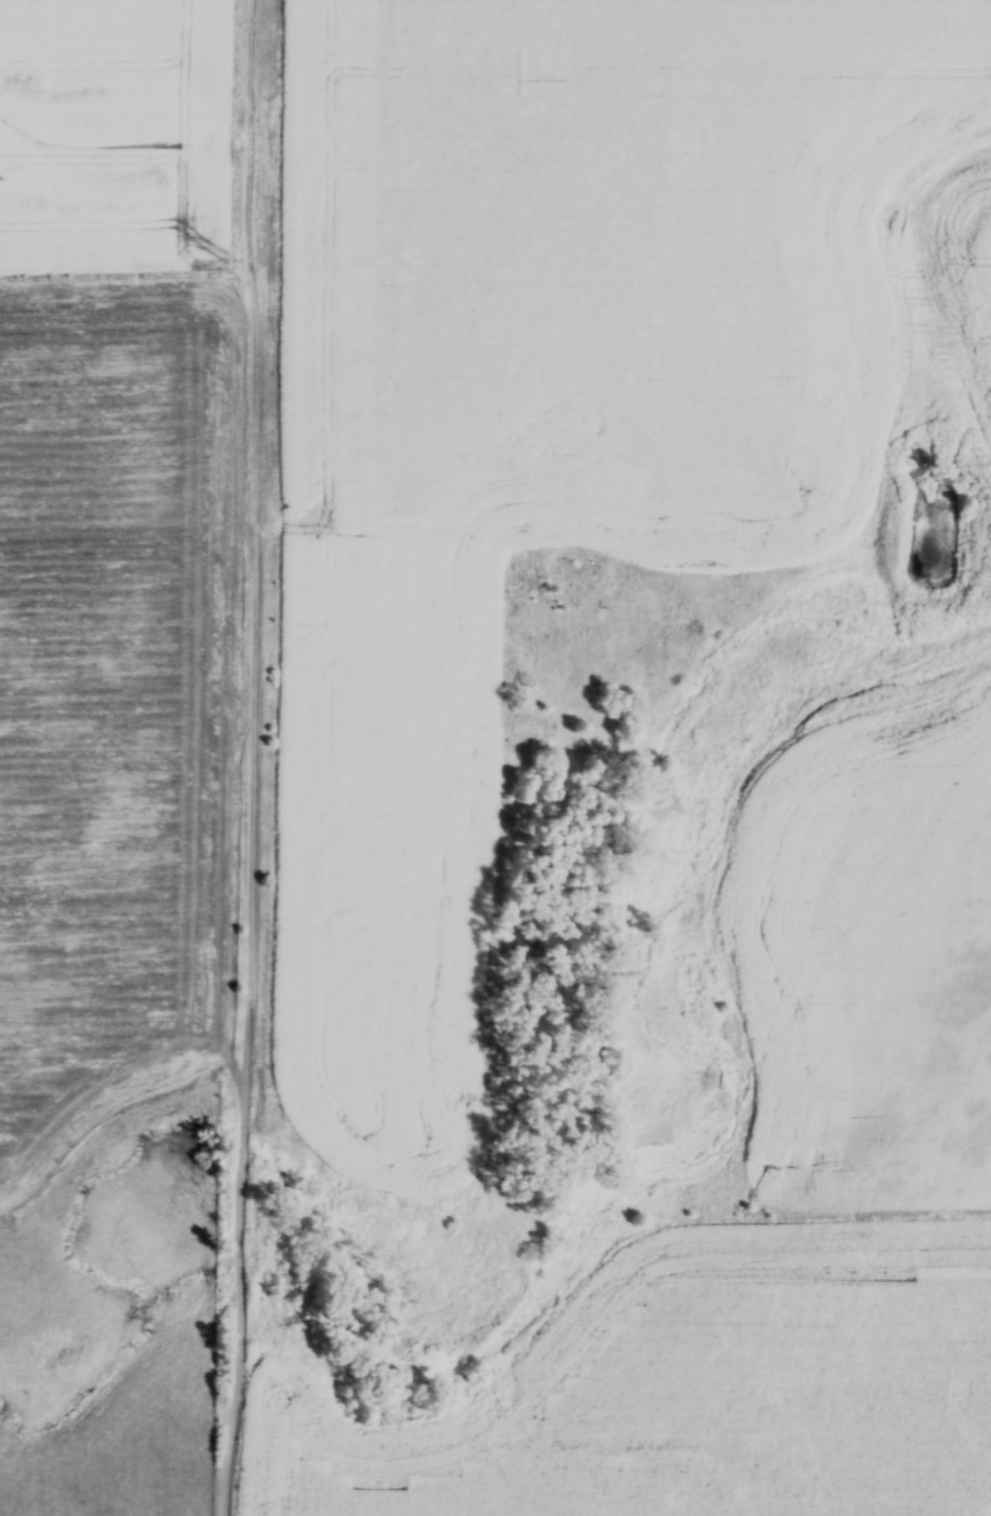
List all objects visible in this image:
road: (247, 757)

